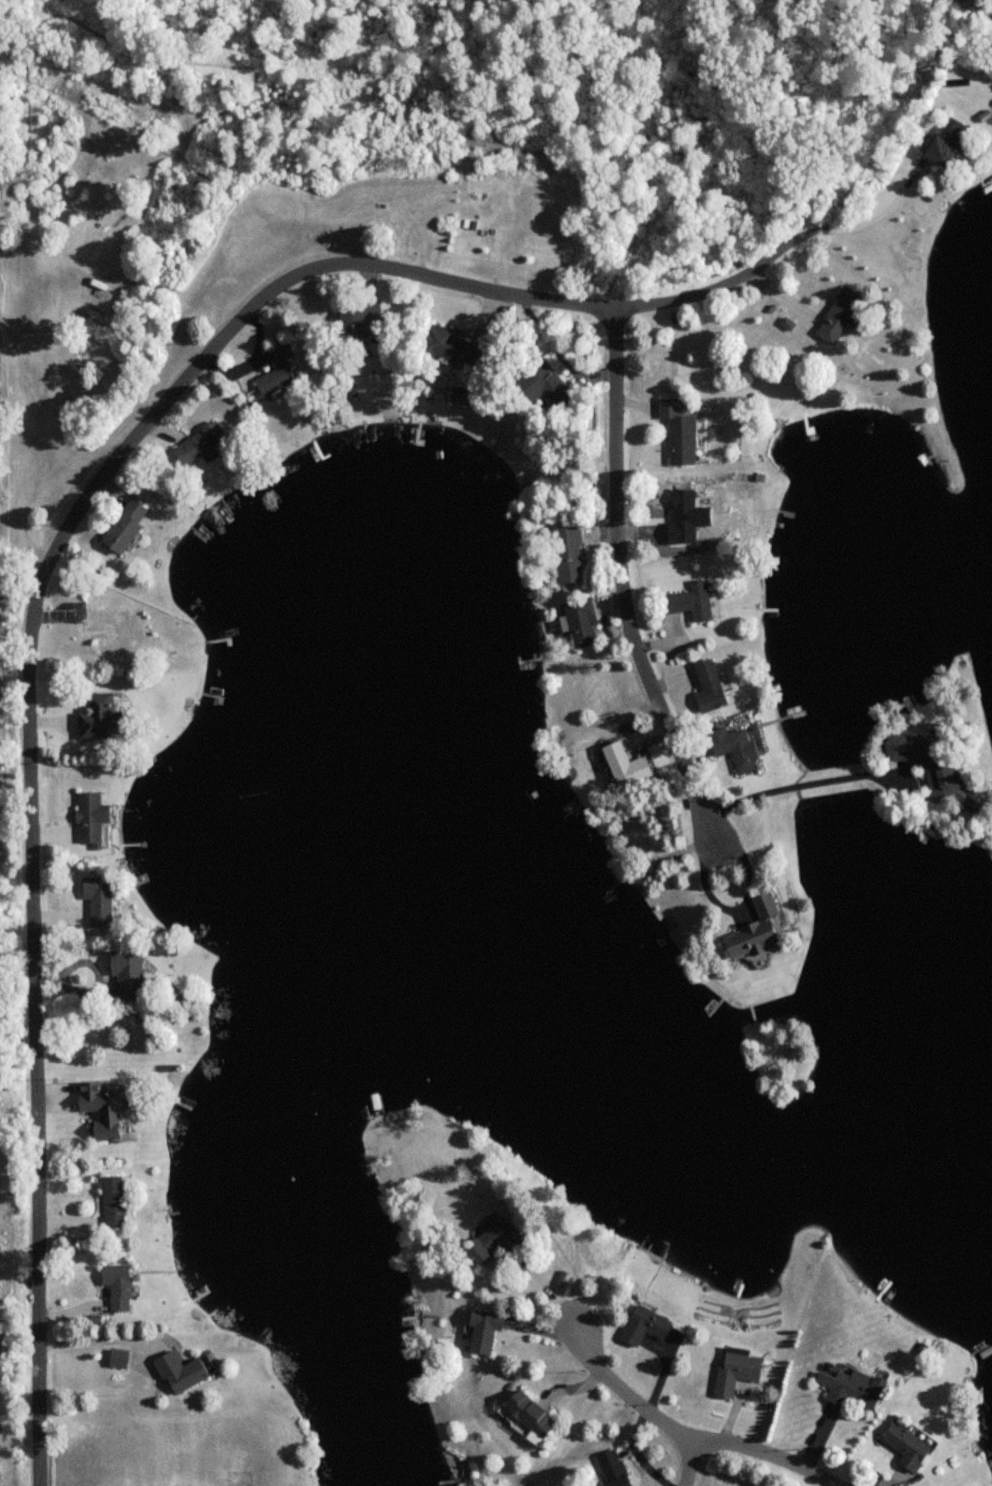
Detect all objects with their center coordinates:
building: (950, 140)
road: (886, 216)
building: (842, 314)
building: (362, 319)
building: (455, 344)
building: (279, 368)
building: (549, 386)
building: (681, 431)
building: (201, 442)
building: (686, 511)
building: (127, 525)
building: (569, 553)
road: (50, 563)
road: (626, 585)
building: (693, 599)
building: (582, 621)
building: (113, 631)
building: (711, 685)
building: (739, 747)
building: (931, 763)
building: (628, 765)
road: (807, 781)
building: (93, 817)
building: (100, 901)
building: (761, 929)
building: (103, 1109)
building: (116, 1200)
building: (507, 1241)
building: (122, 1286)
building: (650, 1325)
building: (487, 1331)
road: (95, 1343)
building: (122, 1358)
building: (742, 1371)
building: (187, 1372)
building: (856, 1388)
building: (535, 1413)
road: (685, 1431)
building: (912, 1446)
road: (688, 1461)
building: (615, 1469)

